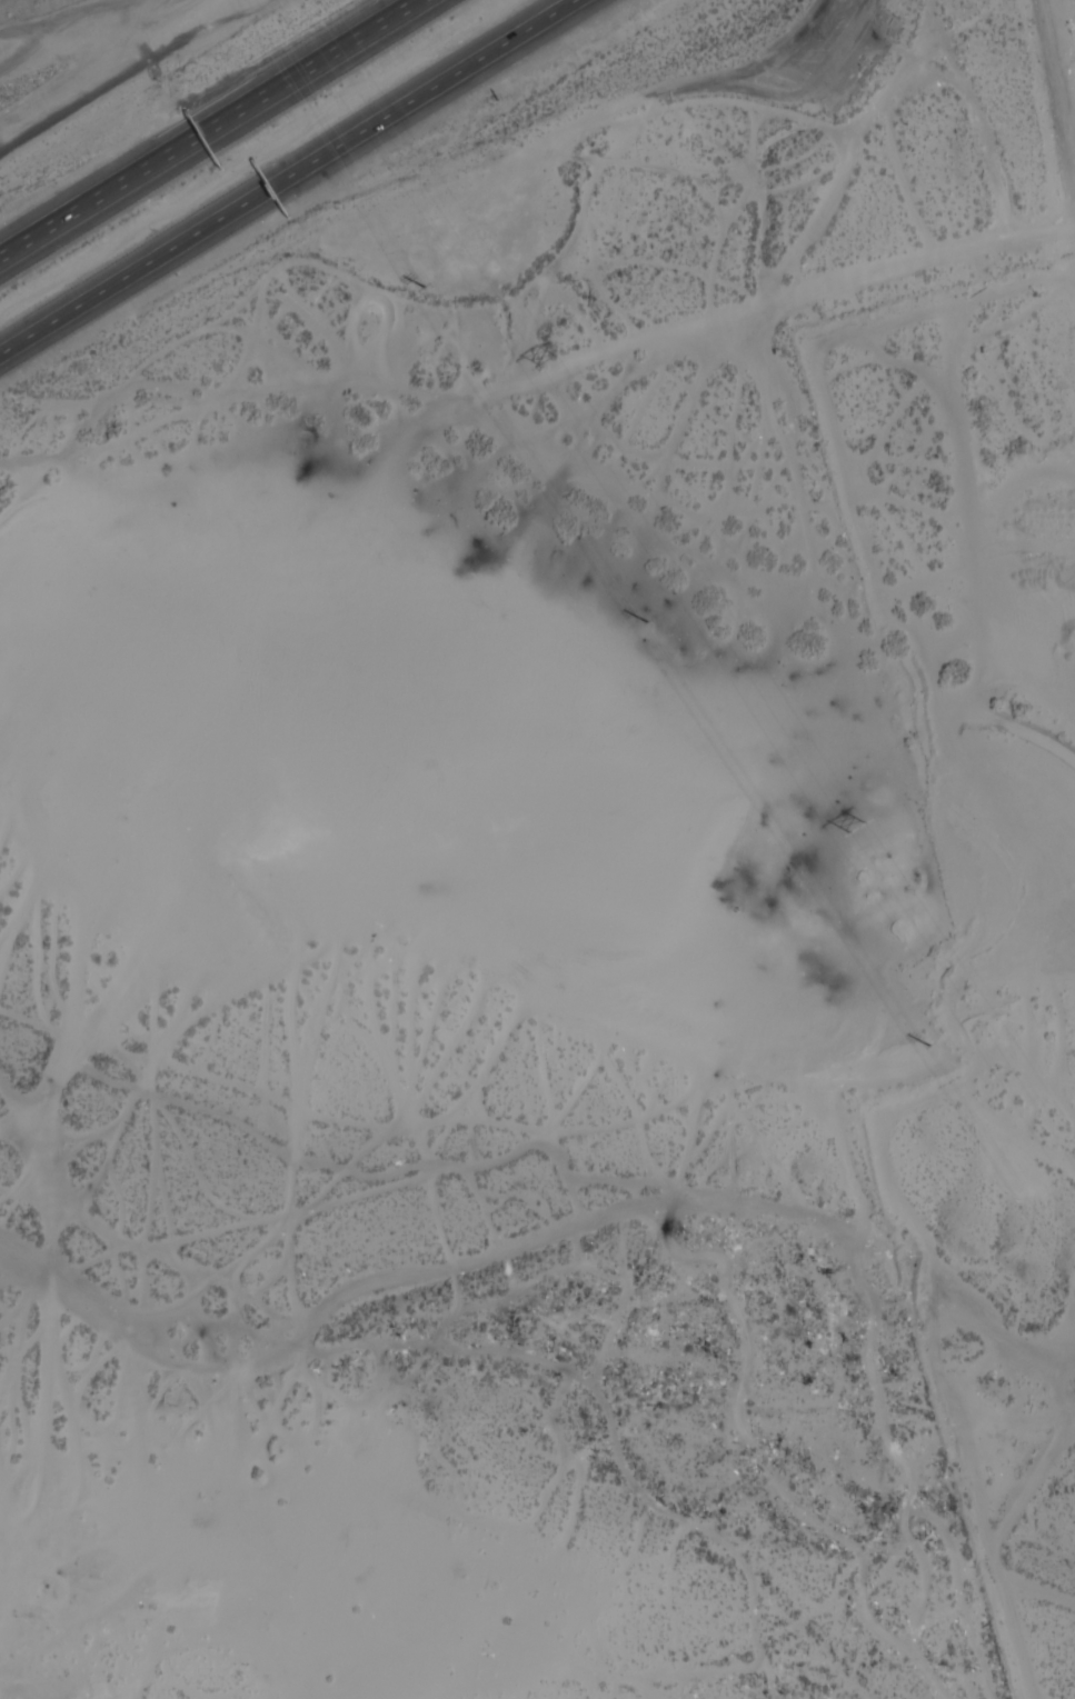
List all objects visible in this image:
road: (203, 123)
road: (288, 177)
road: (1041, 234)
power tower: (427, 289)
power tower: (547, 359)
power tower: (650, 623)
power tower: (893, 876)
power tower: (932, 1047)

